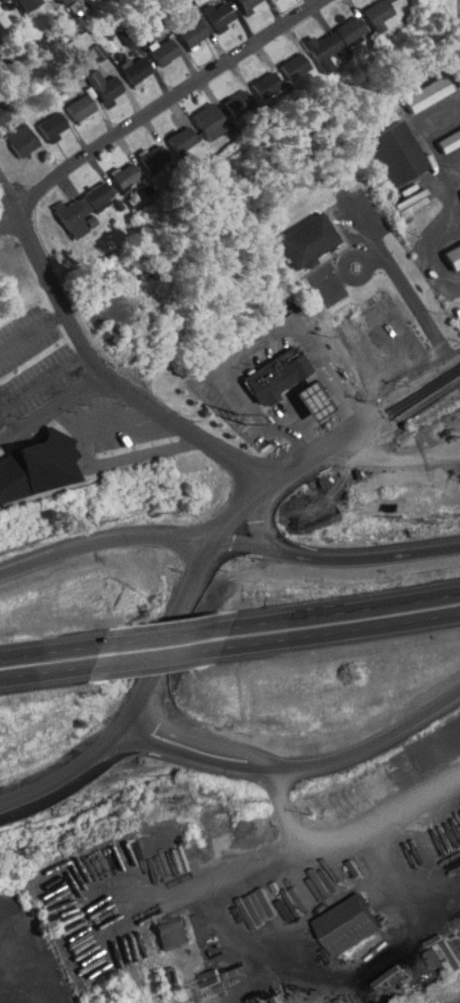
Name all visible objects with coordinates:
building: (59, 0)
building: (27, 3)
building: (246, 3)
building: (374, 12)
building: (3, 18)
building: (207, 23)
road: (456, 34)
building: (331, 41)
building: (164, 51)
road: (393, 53)
building: (291, 65)
building: (136, 68)
building: (104, 83)
building: (427, 93)
road: (165, 99)
building: (81, 105)
building: (1, 114)
building: (52, 123)
building: (22, 138)
building: (449, 139)
building: (396, 151)
building: (151, 156)
building: (124, 175)
road: (10, 191)
building: (98, 195)
road: (10, 216)
building: (70, 216)
building: (308, 239)
building: (452, 255)
road: (402, 278)
road: (58, 293)
building: (278, 371)
building: (311, 397)
gas station: (311, 397)
road: (52, 405)
road: (183, 425)
road: (332, 442)
building: (33, 461)
road: (260, 513)
road: (134, 532)
road: (366, 552)
road: (340, 608)
road: (332, 629)
road: (165, 632)
road: (55, 646)
road: (154, 655)
road: (52, 668)
road: (148, 703)
road: (375, 745)
road: (204, 751)
road: (284, 808)
building: (348, 917)
building: (173, 930)
railway: (456, 1001)

